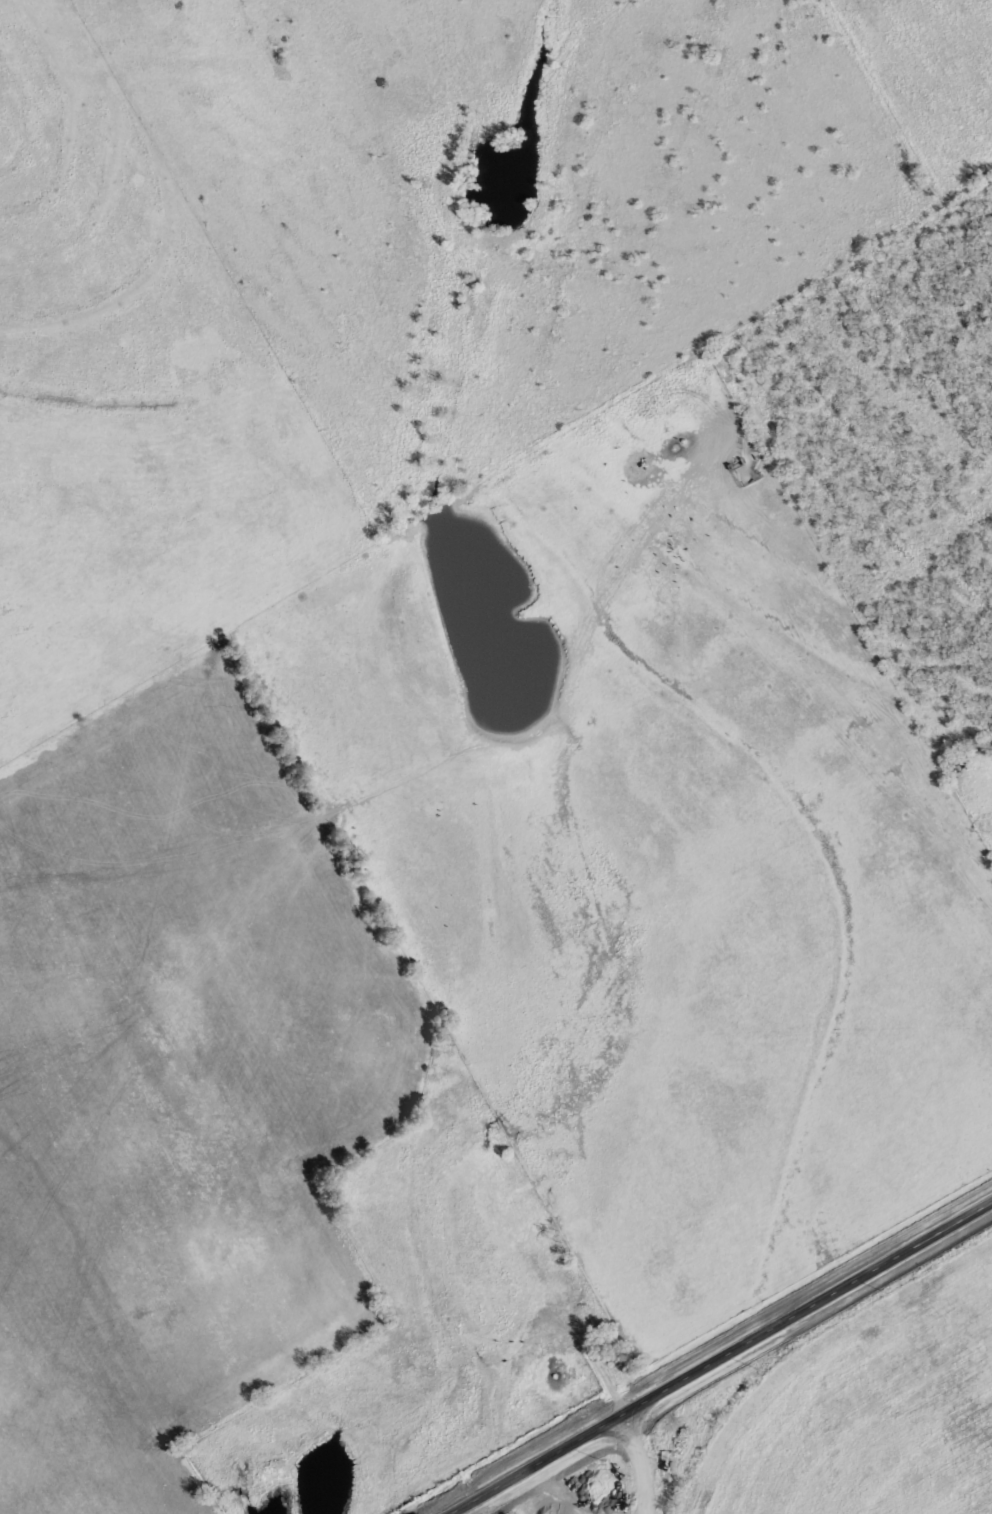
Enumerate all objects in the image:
road: (720, 1356)
road: (606, 1377)
road: (641, 1462)

